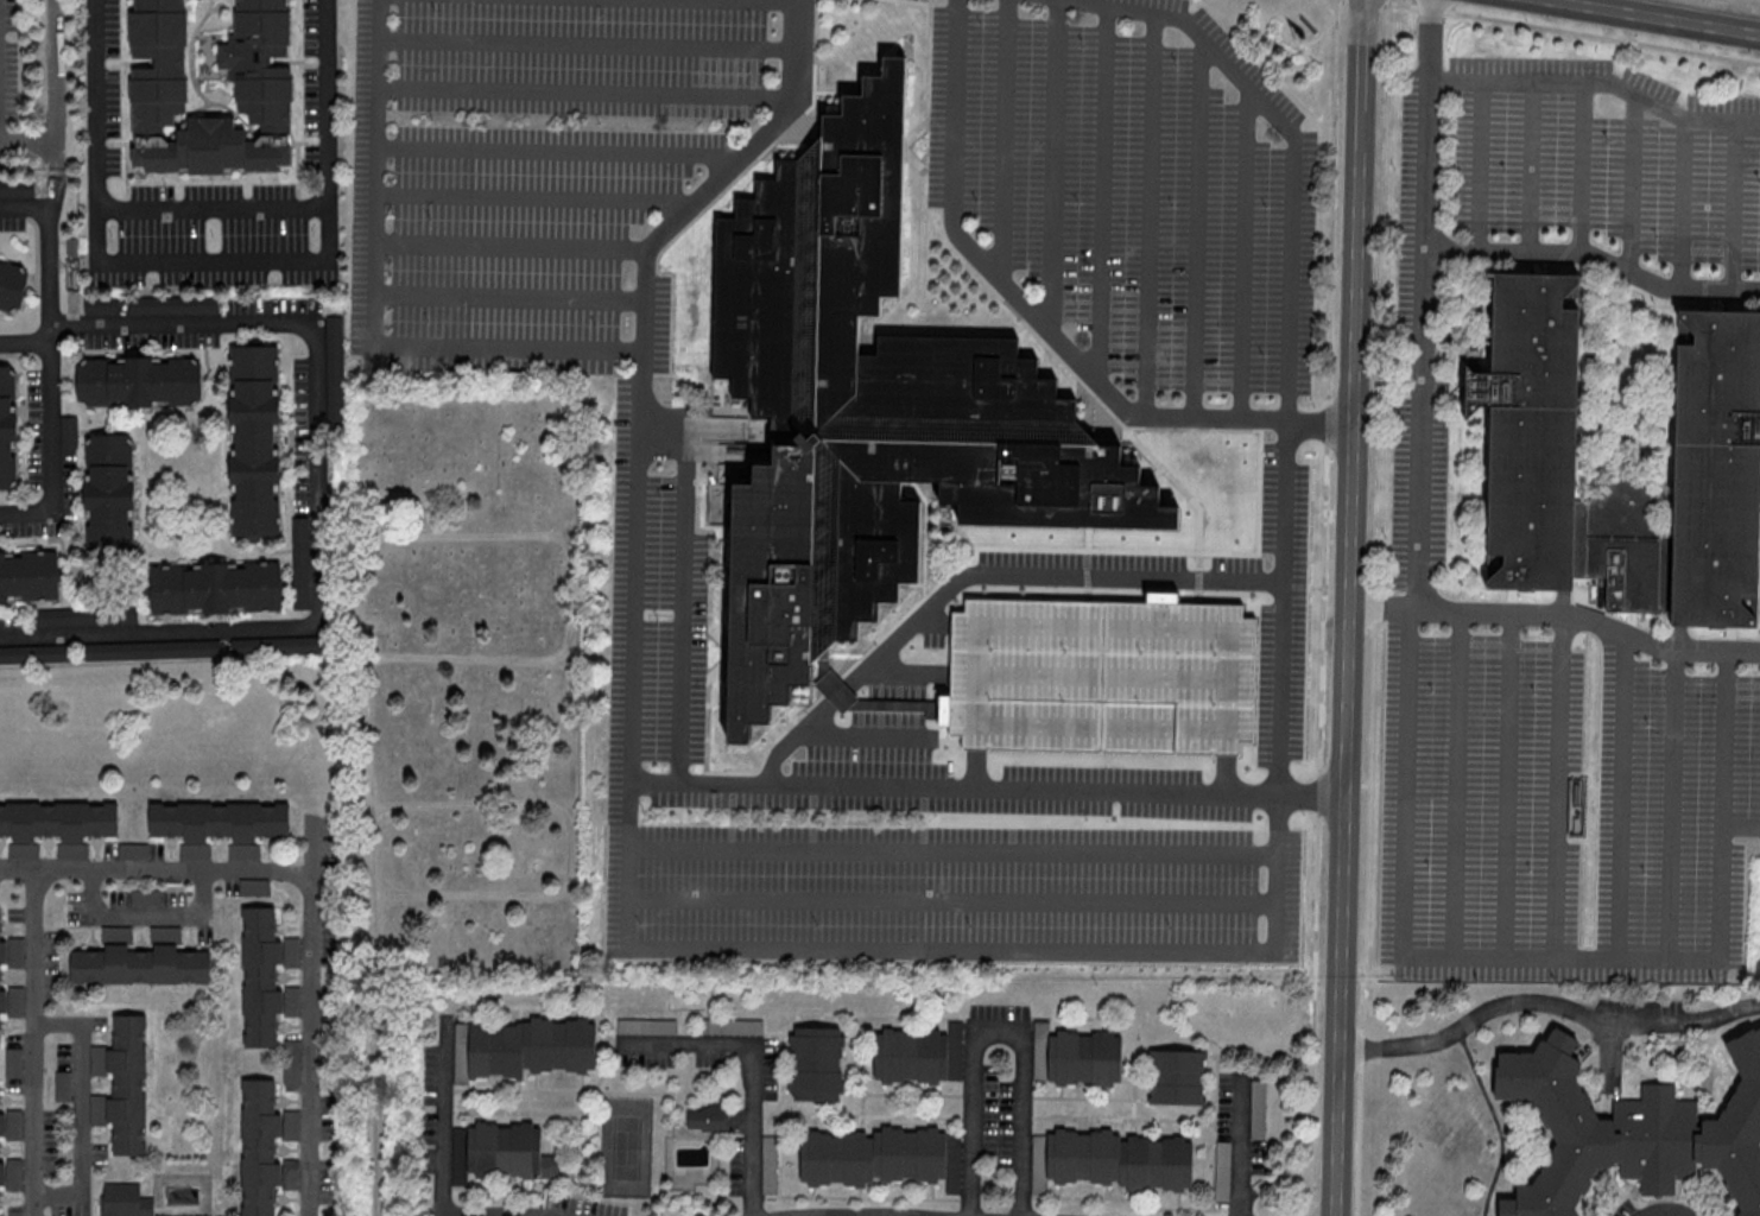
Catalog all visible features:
building: (159, 5)
building: (261, 5)
road: (1654, 17)
road: (589, 44)
building: (157, 46)
building: (255, 47)
road: (191, 52)
road: (57, 83)
road: (1597, 83)
road: (585, 93)
building: (156, 104)
building: (266, 104)
road: (209, 106)
road: (1005, 138)
road: (30, 140)
building: (211, 152)
road: (563, 152)
road: (1475, 165)
road: (1055, 167)
road: (1532, 167)
road: (1582, 170)
road: (1633, 183)
road: (540, 196)
road: (1101, 197)
road: (1684, 204)
road: (1736, 207)
road: (26, 209)
road: (213, 210)
road: (1153, 215)
road: (1243, 226)
road: (1199, 229)
road: (512, 248)
road: (1468, 249)
road: (210, 264)
building: (12, 286)
road: (508, 296)
building: (173, 304)
road: (371, 304)
building: (102, 305)
building: (335, 332)
road: (26, 344)
road: (52, 367)
building: (140, 381)
road: (1239, 408)
building: (870, 410)
road: (1261, 419)
road: (1319, 422)
road: (1417, 429)
building: (255, 441)
building: (1553, 456)
building: (1717, 471)
building: (110, 494)
road: (319, 501)
road: (563, 541)
building: (302, 562)
building: (216, 588)
road: (1349, 607)
road: (1382, 608)
road: (1323, 609)
building: (87, 617)
road: (1589, 619)
road: (1102, 627)
building: (273, 645)
building: (152, 651)
building: (36, 655)
road: (860, 679)
road: (1281, 689)
road: (1069, 692)
park: (456, 715)
road: (1044, 736)
road: (1457, 785)
road: (1509, 786)
road: (1558, 786)
road: (1026, 791)
road: (1622, 797)
parking lot: (1480, 803)
road: (1673, 804)
parking lot: (1676, 811)
building: (57, 825)
road: (1742, 830)
road: (569, 850)
road: (954, 850)
road: (159, 869)
road: (627, 886)
road: (952, 899)
road: (147, 914)
road: (374, 936)
road: (1541, 958)
building: (140, 961)
building: (0, 977)
building: (266, 977)
road: (1547, 1005)
road: (312, 1016)
road: (1000, 1024)
building: (734, 1028)
road: (36, 1043)
building: (532, 1049)
building: (913, 1057)
building: (1077, 1059)
building: (292, 1062)
road: (755, 1062)
building: (14, 1063)
building: (817, 1065)
building: (1177, 1078)
building: (125, 1084)
building: (64, 1085)
road: (1360, 1098)
road: (81, 1108)
road: (444, 1116)
building: (710, 1121)
building: (11, 1125)
building: (1632, 1130)
road: (1245, 1141)
building: (266, 1148)
park: (626, 1149)
building: (509, 1152)
building: (872, 1158)
building: (1116, 1160)
building: (11, 1174)
building: (124, 1201)
road: (1667, 1214)

